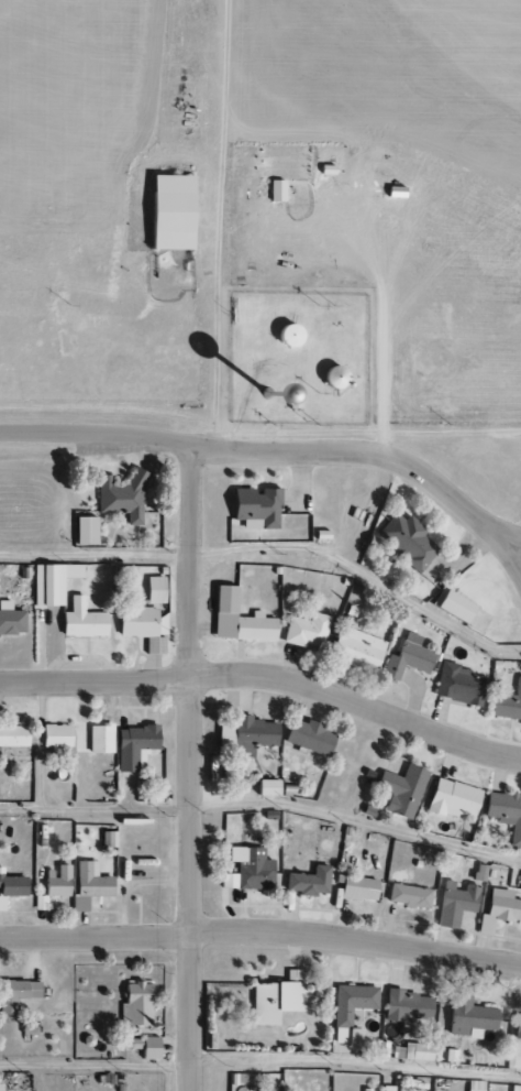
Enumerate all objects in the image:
building: (275, 190)
building: (167, 211)
building: (286, 334)
building: (330, 375)
road: (470, 448)
road: (265, 450)
building: (120, 497)
building: (254, 508)
building: (84, 530)
building: (408, 541)
road: (512, 541)
road: (274, 548)
road: (512, 557)
building: (52, 582)
building: (154, 590)
building: (450, 604)
building: (10, 619)
building: (236, 619)
building: (81, 620)
building: (142, 626)
building: (304, 630)
building: (357, 648)
building: (408, 656)
road: (266, 678)
building: (458, 685)
building: (507, 702)
building: (251, 733)
building: (12, 735)
building: (55, 735)
building: (224, 737)
building: (307, 737)
building: (99, 738)
building: (132, 744)
road: (190, 770)
building: (265, 787)
building: (400, 789)
building: (451, 798)
road: (264, 801)
building: (505, 812)
building: (247, 869)
building: (478, 872)
building: (56, 881)
building: (307, 881)
building: (88, 884)
building: (12, 885)
building: (520, 885)
building: (356, 887)
building: (407, 895)
building: (0, 903)
building: (40, 903)
building: (455, 903)
building: (498, 909)
road: (262, 936)
building: (15, 993)
building: (275, 999)
building: (134, 1003)
building: (406, 1006)
building: (466, 1012)
building: (340, 1018)
building: (517, 1027)
building: (142, 1046)
building: (415, 1051)
road: (259, 1058)
building: (474, 1085)

